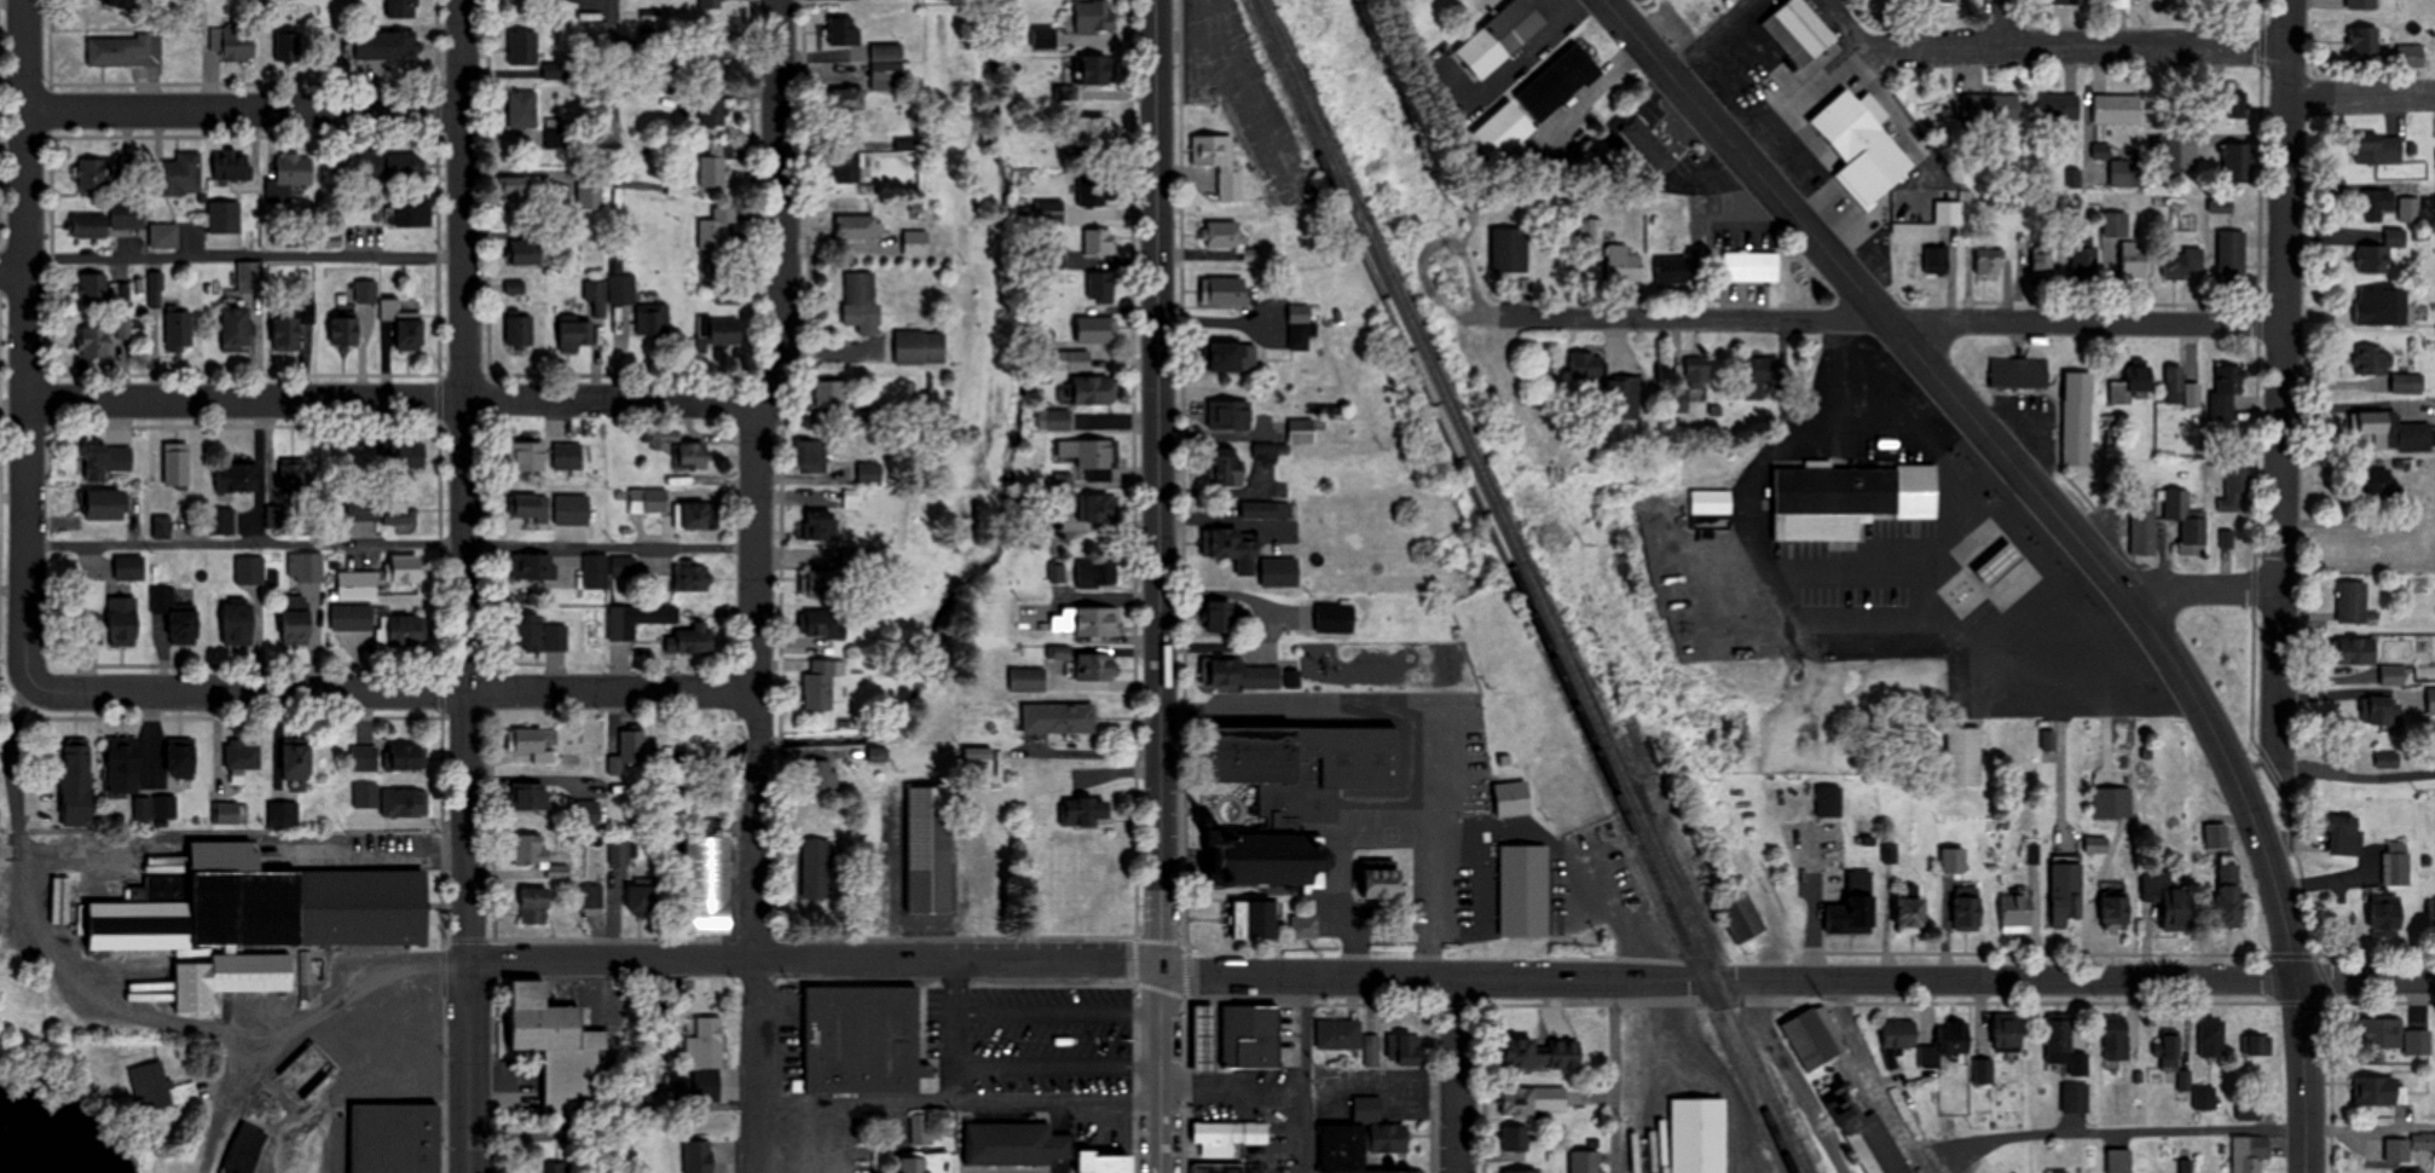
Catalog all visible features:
building: (2071, 1)
building: (2237, 1)
building: (120, 2)
building: (710, 4)
building: (2119, 4)
building: (2362, 4)
building: (403, 8)
building: (1094, 16)
road: (2001, 22)
building: (1515, 24)
building: (1806, 25)
building: (843, 30)
building: (235, 42)
road: (2088, 44)
building: (2365, 44)
building: (386, 45)
building: (288, 46)
building: (524, 47)
building: (125, 50)
building: (716, 52)
building: (2414, 56)
building: (887, 67)
building: (556, 69)
building: (1097, 69)
building: (1558, 81)
road: (614, 92)
road: (2360, 96)
building: (848, 99)
building: (1992, 105)
building: (2059, 106)
road: (244, 108)
building: (524, 108)
building: (2117, 108)
building: (2232, 109)
building: (712, 110)
building: (1851, 121)
building: (1095, 131)
building: (1503, 131)
building: (556, 132)
building: (1649, 144)
building: (2378, 149)
building: (2165, 155)
building: (2236, 161)
building: (1220, 162)
building: (374, 163)
building: (233, 164)
building: (713, 166)
building: (293, 171)
building: (848, 171)
building: (2125, 172)
building: (92, 174)
building: (179, 174)
building: (517, 187)
building: (678, 189)
building: (589, 191)
building: (1093, 191)
building: (2377, 203)
building: (2408, 208)
building: (410, 212)
building: (1049, 212)
building: (1948, 212)
building: (224, 225)
building: (89, 226)
building: (858, 227)
building: (718, 231)
building: (1587, 233)
building: (164, 236)
building: (1226, 236)
building: (1098, 242)
building: (915, 243)
building: (1509, 250)
building: (526, 253)
building: (2379, 253)
building: (2232, 256)
road: (244, 258)
building: (1936, 258)
building: (2135, 260)
building: (1988, 262)
building: (1621, 264)
building: (2084, 264)
building: (2185, 264)
building: (1751, 266)
building: (2044, 266)
building: (1671, 270)
road: (11, 273)
building: (249, 277)
building: (1101, 288)
building: (94, 289)
building: (860, 290)
building: (1227, 290)
building: (366, 291)
building: (621, 295)
building: (2382, 307)
building: (653, 319)
road: (1891, 319)
building: (404, 325)
building: (1300, 327)
building: (236, 328)
building: (346, 329)
building: (179, 330)
building: (1095, 330)
building: (520, 331)
building: (719, 333)
building: (287, 334)
building: (577, 335)
road: (22, 340)
building: (96, 342)
building: (920, 347)
building: (1230, 357)
building: (1080, 359)
building: (2373, 360)
building: (1585, 365)
road: (2281, 370)
building: (2019, 371)
building: (1757, 375)
building: (2140, 379)
building: (2407, 382)
building: (1693, 383)
building: (2176, 383)
building: (1095, 389)
building: (2225, 393)
building: (829, 395)
building: (1621, 398)
road: (392, 399)
building: (1230, 415)
building: (1059, 420)
building: (2381, 427)
building: (1301, 431)
building: (2077, 432)
building: (400, 456)
building: (526, 456)
building: (571, 456)
building: (692, 456)
building: (811, 456)
building: (1092, 457)
building: (102, 461)
building: (177, 463)
building: (1227, 466)
building: (871, 473)
building: (295, 474)
building: (236, 478)
building: (2376, 481)
building: (2233, 490)
building: (648, 499)
building: (1849, 501)
building: (1712, 502)
building: (106, 504)
building: (531, 508)
building: (572, 508)
building: (1101, 508)
building: (1261, 509)
building: (699, 515)
building: (220, 520)
building: (399, 520)
building: (2187, 522)
building: (823, 525)
building: (2144, 526)
road: (2070, 530)
building: (1228, 544)
road: (389, 545)
building: (305, 566)
building: (532, 566)
building: (129, 567)
building: (249, 570)
building: (406, 570)
building: (596, 571)
building: (640, 571)
building: (1097, 572)
building: (1279, 577)
building: (693, 578)
road: (753, 583)
building: (820, 583)
building: (357, 584)
road: (2194, 584)
road: (1157, 585)
railway: (1537, 585)
road: (468, 586)
railway: (1520, 586)
building: (2354, 603)
building: (175, 616)
building: (352, 617)
building: (1221, 617)
building: (1335, 617)
building: (295, 619)
building: (638, 619)
building: (123, 622)
building: (237, 622)
building: (1087, 622)
building: (825, 623)
building: (406, 630)
building: (538, 635)
building: (692, 638)
building: (2358, 651)
building: (1095, 668)
building: (1242, 674)
building: (2393, 675)
building: (1028, 680)
building: (821, 684)
road: (388, 686)
building: (2431, 701)
building: (2377, 711)
building: (1058, 718)
building: (533, 744)
building: (878, 755)
building: (978, 755)
building: (242, 756)
building: (629, 756)
building: (364, 757)
building: (1965, 757)
building: (181, 758)
building: (407, 758)
building: (2388, 759)
building: (296, 762)
building: (123, 767)
building: (1305, 768)
road: (2353, 774)
building: (820, 775)
building: (77, 785)
building: (527, 797)
building: (1513, 799)
building: (1828, 802)
building: (405, 803)
building: (155, 808)
building: (585, 811)
building: (230, 813)
building: (1086, 813)
building: (282, 815)
building: (705, 822)
building: (2346, 833)
building: (2216, 836)
building: (4, 845)
building: (930, 850)
building: (619, 853)
building: (536, 855)
building: (1953, 860)
building: (1272, 861)
building: (2396, 863)
building: (816, 869)
building: (708, 885)
building: (1382, 885)
building: (2066, 890)
building: (2229, 895)
building: (590, 896)
building: (641, 898)
building: (2165, 901)
building: (536, 906)
building: (1852, 906)
building: (1967, 908)
building: (2015, 912)
building: (2116, 913)
building: (1911, 914)
building: (1741, 915)
building: (2387, 917)
building: (254, 919)
building: (1255, 921)
building: (1305, 926)
road: (1450, 978)
road: (1058, 1012)
road: (956, 1029)
building: (2008, 1033)
building: (2377, 1034)
building: (1340, 1035)
building: (1250, 1036)
parking lot: (1030, 1038)
building: (1815, 1038)
building: (863, 1039)
building: (2211, 1039)
building: (2116, 1040)
building: (1898, 1041)
building: (2059, 1042)
building: (2417, 1042)
building: (351, 1044)
building: (1947, 1045)
building: (557, 1046)
building: (2260, 1046)
building: (1409, 1051)
building: (1371, 1052)
building: (1542, 1054)
building: (2170, 1054)
building: (707, 1058)
road: (1058, 1065)
building: (1984, 1073)
road: (1867, 1074)
road: (1308, 1075)
road: (1456, 1076)
road: (1615, 1077)
road: (1793, 1080)
building: (160, 1088)
building: (2376, 1092)
building: (2075, 1098)
building: (2204, 1098)
road: (956, 1099)
building: (1534, 1100)
building: (1366, 1108)
building: (2249, 1110)
road: (1060, 1116)
building: (922, 1127)
road: (2176, 1131)
building: (1866, 1133)
building: (1228, 1137)
building: (394, 1138)
building: (1389, 1138)
building: (1690, 1138)
building: (1515, 1140)
building: (2424, 1140)
building: (1016, 1143)
building: (1350, 1150)
building: (2250, 1154)
building: (700, 1156)
building: (2121, 1160)
building: (926, 1162)
building: (1586, 1162)
building: (1112, 1163)
road: (1926, 1163)
road: (1060, 1165)
building: (1228, 1167)
building: (1521, 1171)
building: (2413, 1171)
parking lot: (1017, 1172)
building: (2061, 1172)

